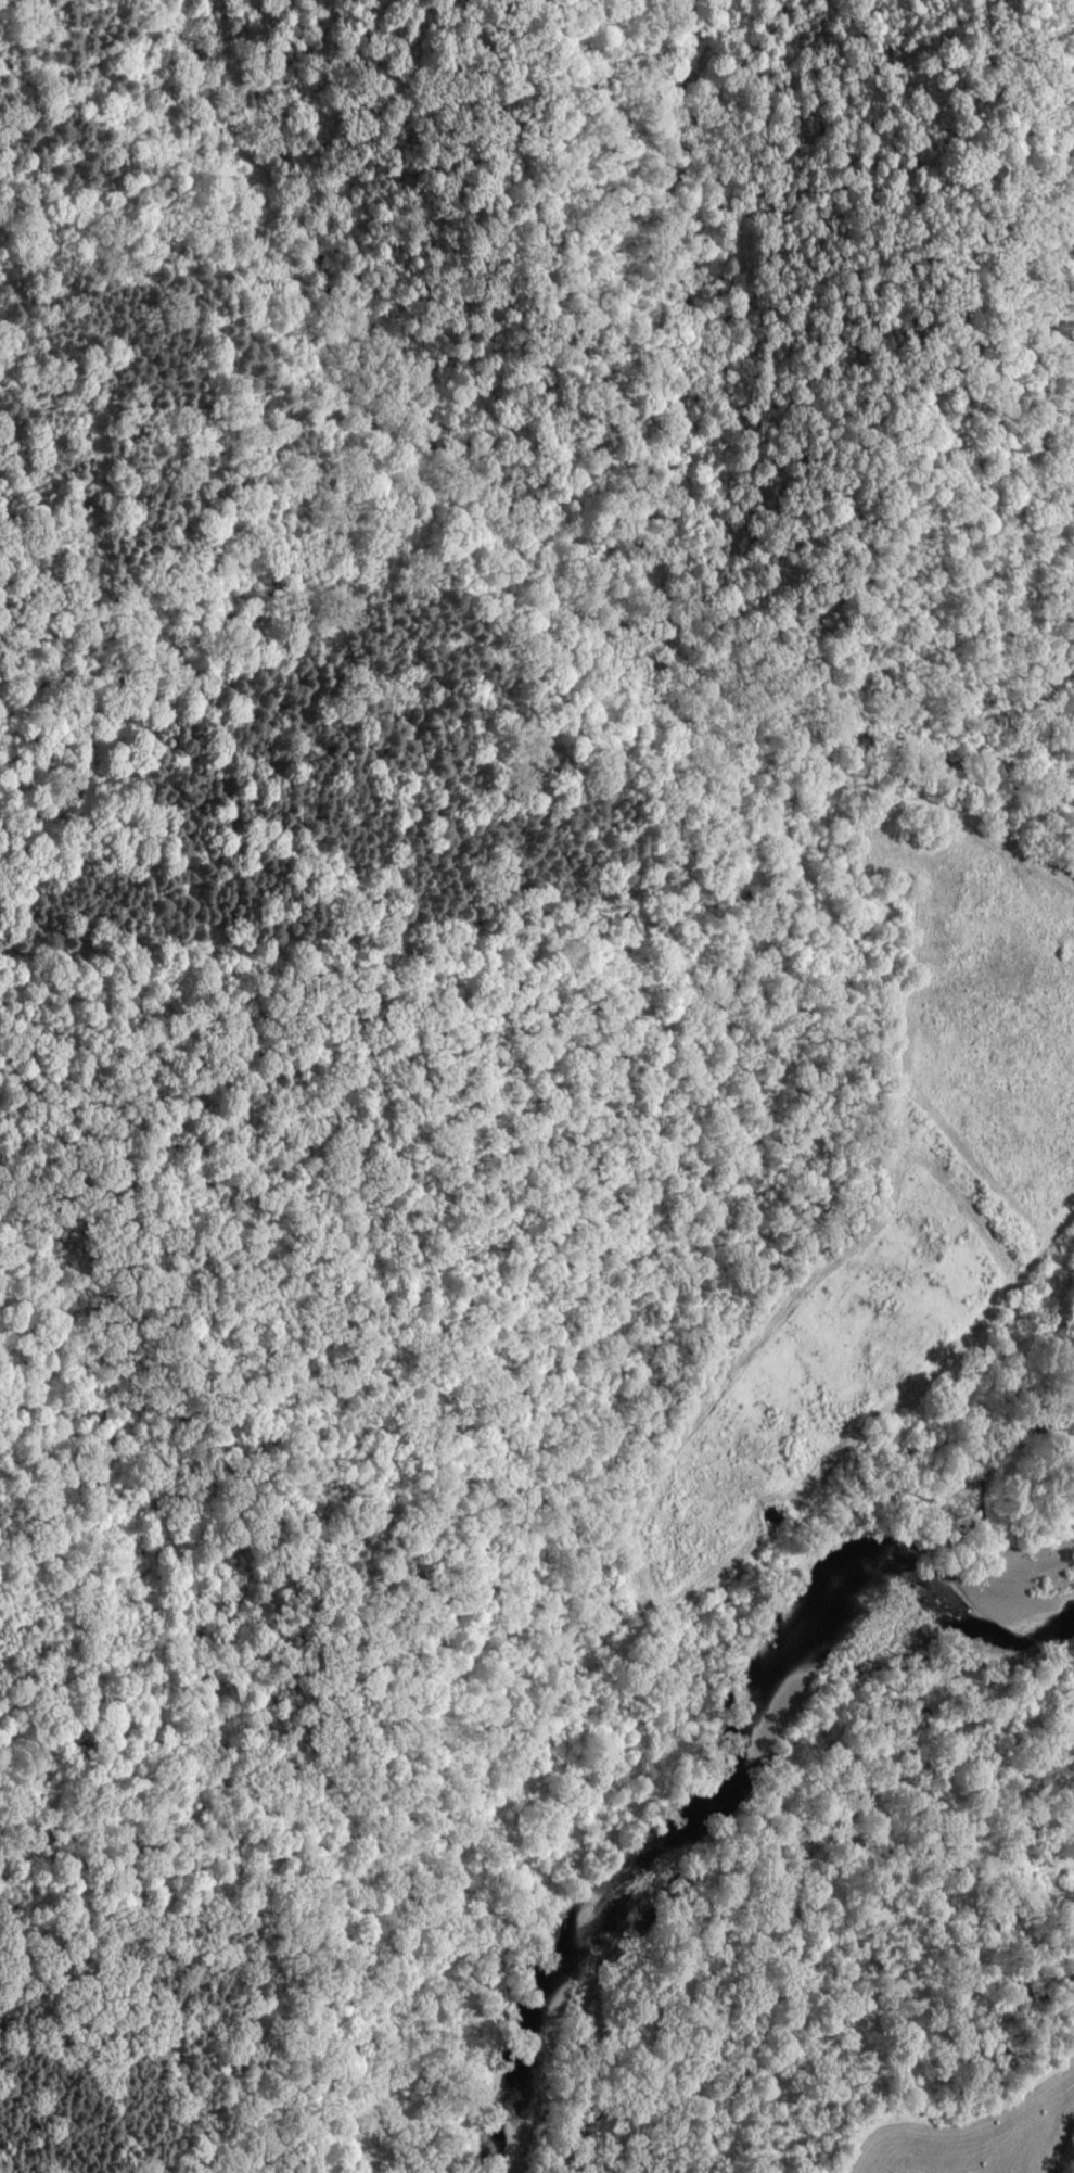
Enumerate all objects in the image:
crop: (898, 1191)
river: (729, 1789)

